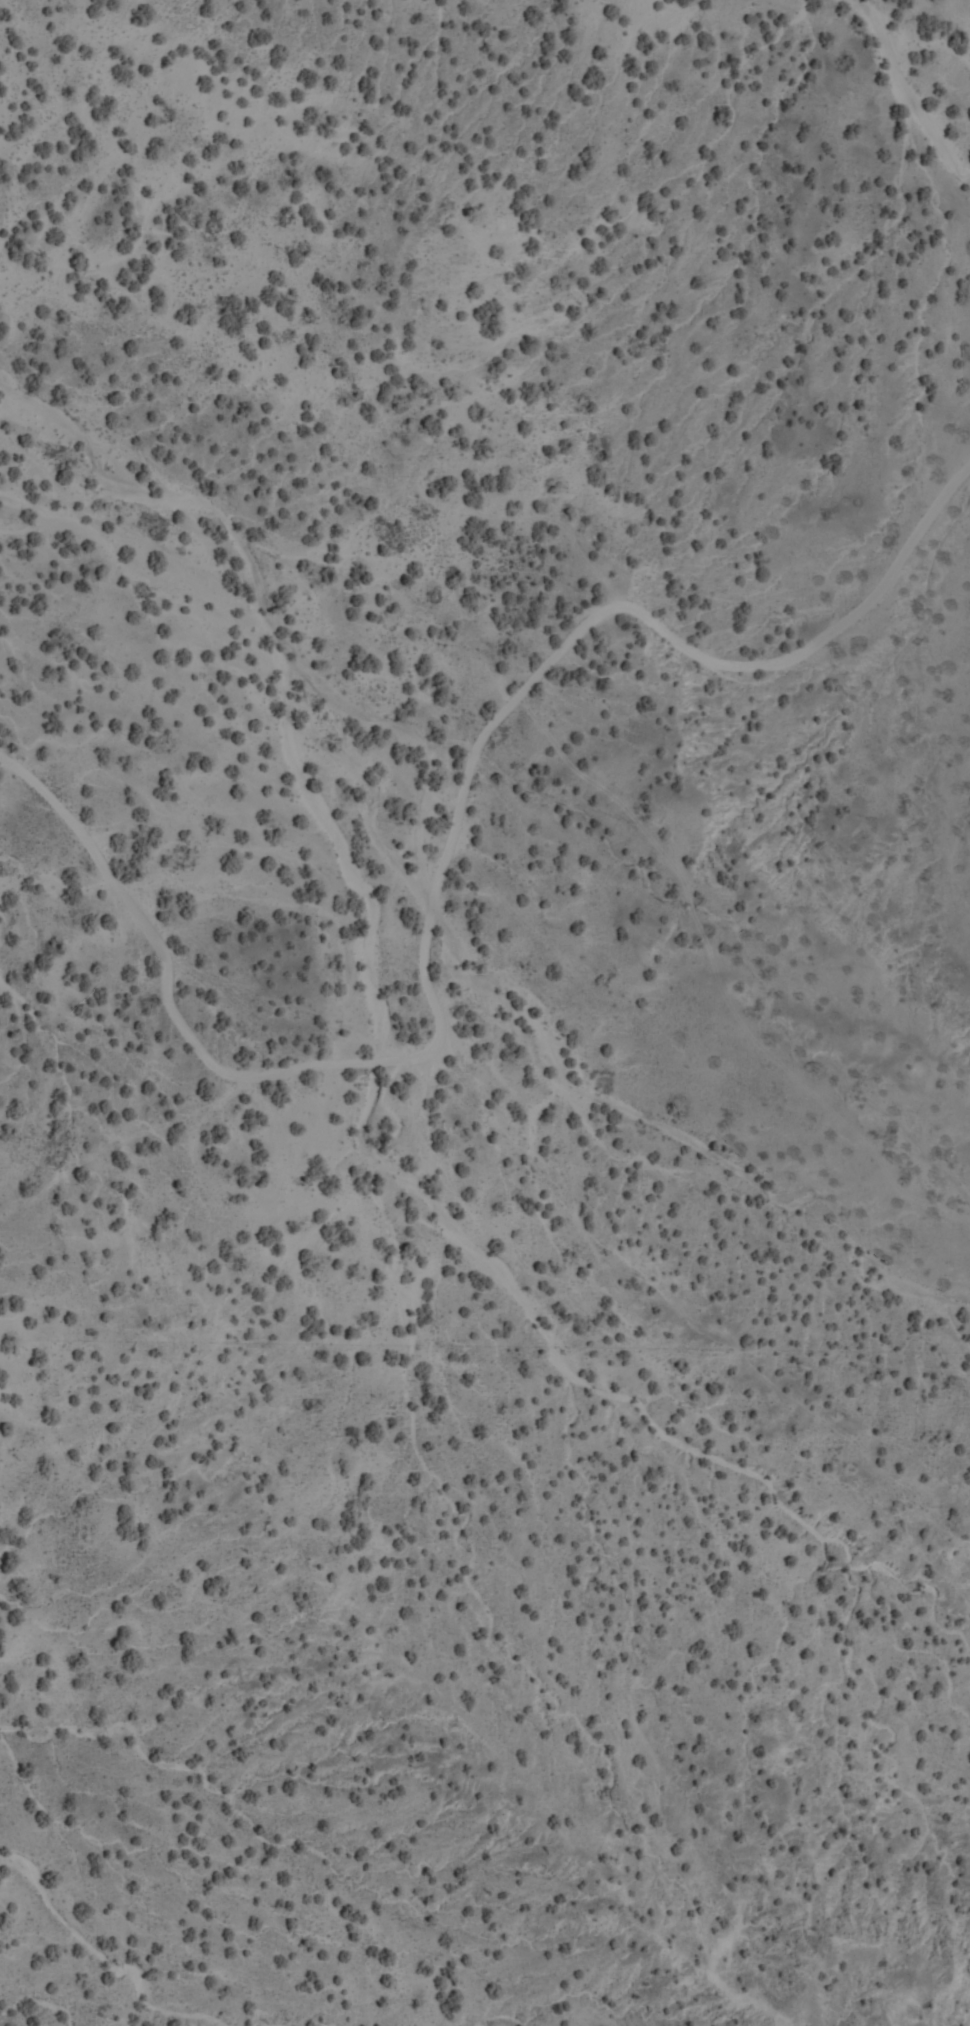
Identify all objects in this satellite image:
road: (821, 651)

